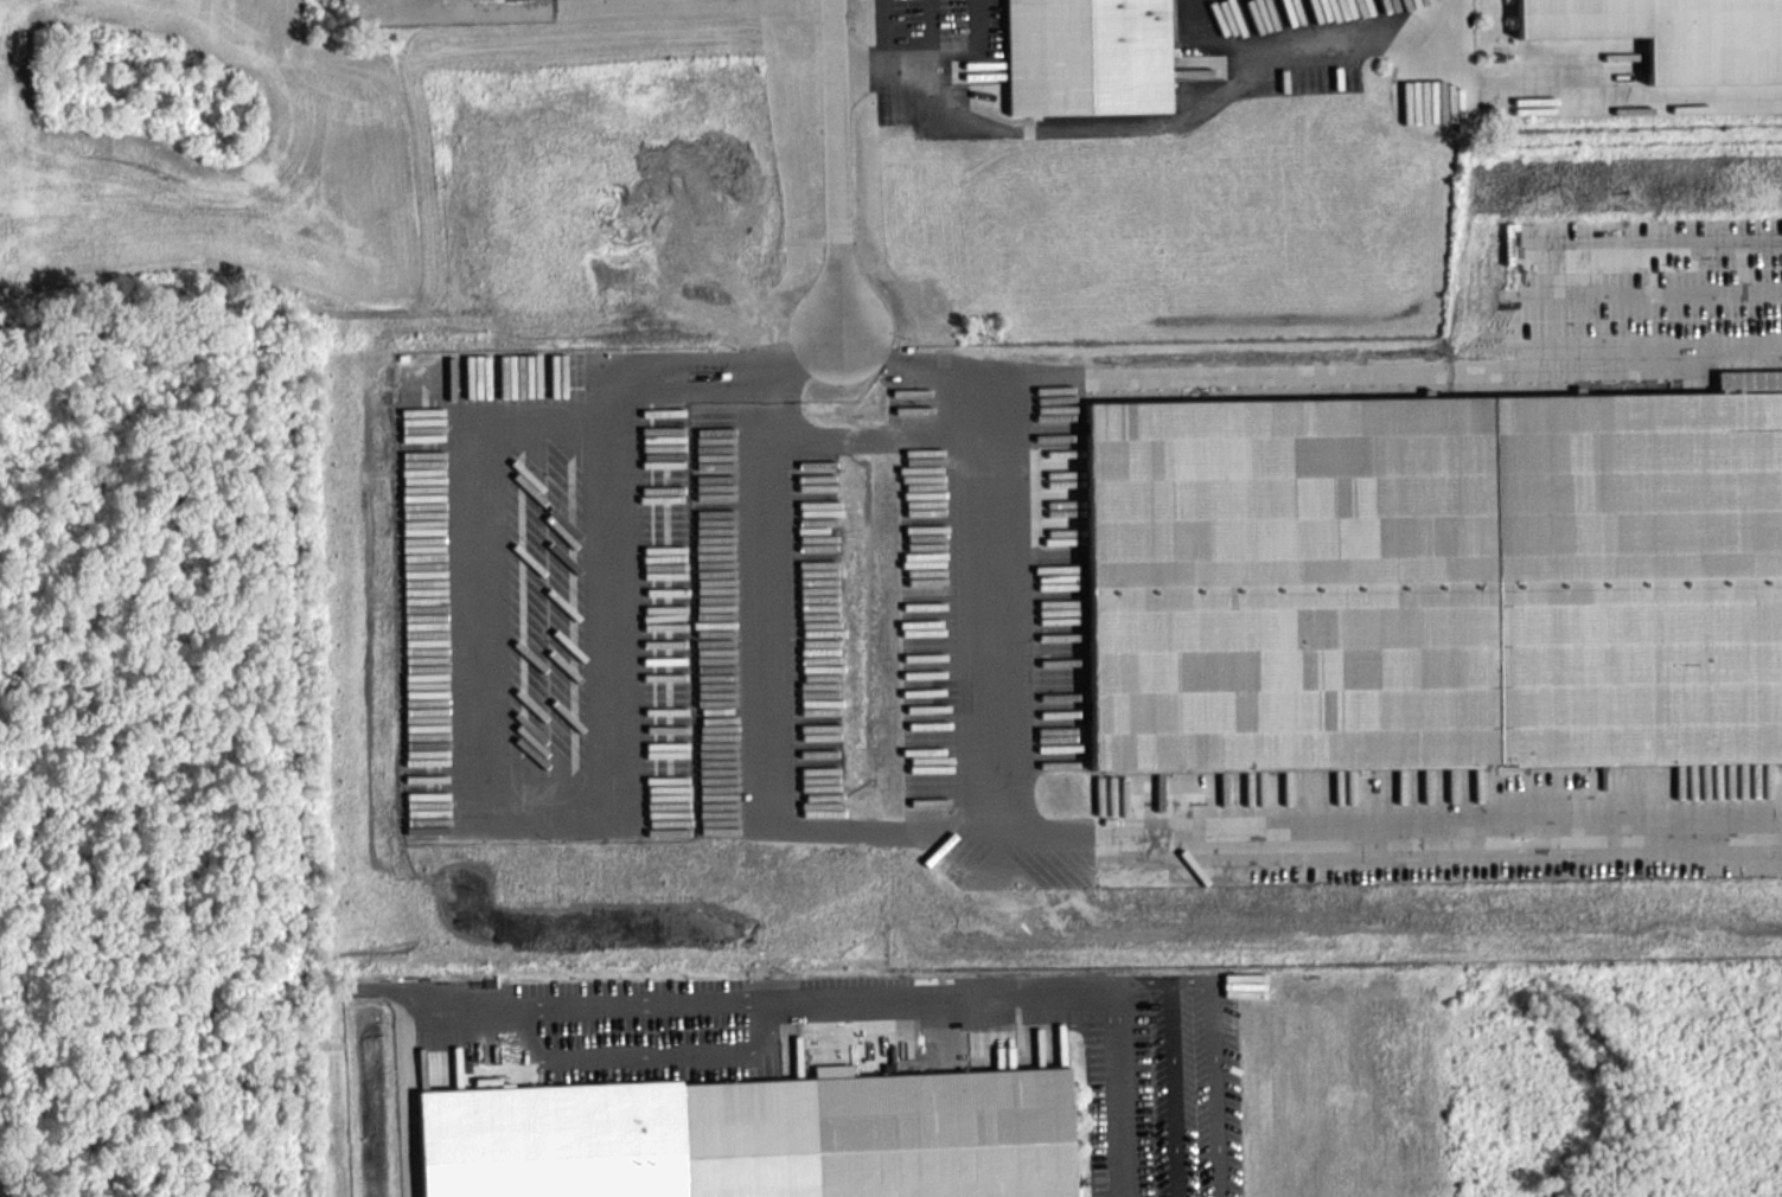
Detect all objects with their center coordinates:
road: (1455, 25)
road: (932, 30)
road: (884, 31)
building: (1674, 34)
parking lot: (928, 55)
building: (1086, 56)
road: (930, 59)
road: (1605, 97)
road: (837, 151)
road: (816, 347)
road: (911, 369)
road: (1367, 372)
road: (772, 392)
road: (764, 421)
building: (1433, 581)
road: (978, 812)
road: (1378, 830)
road: (934, 991)
parking lot: (862, 1037)
building: (755, 1137)

